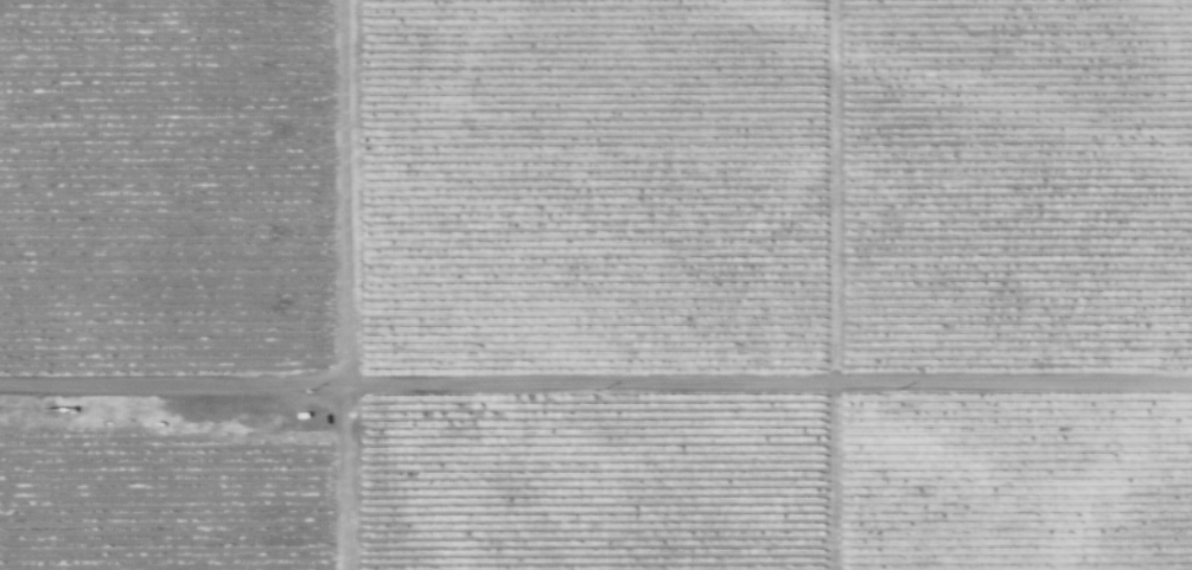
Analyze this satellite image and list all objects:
road: (836, 284)
road: (349, 364)
road: (771, 378)

